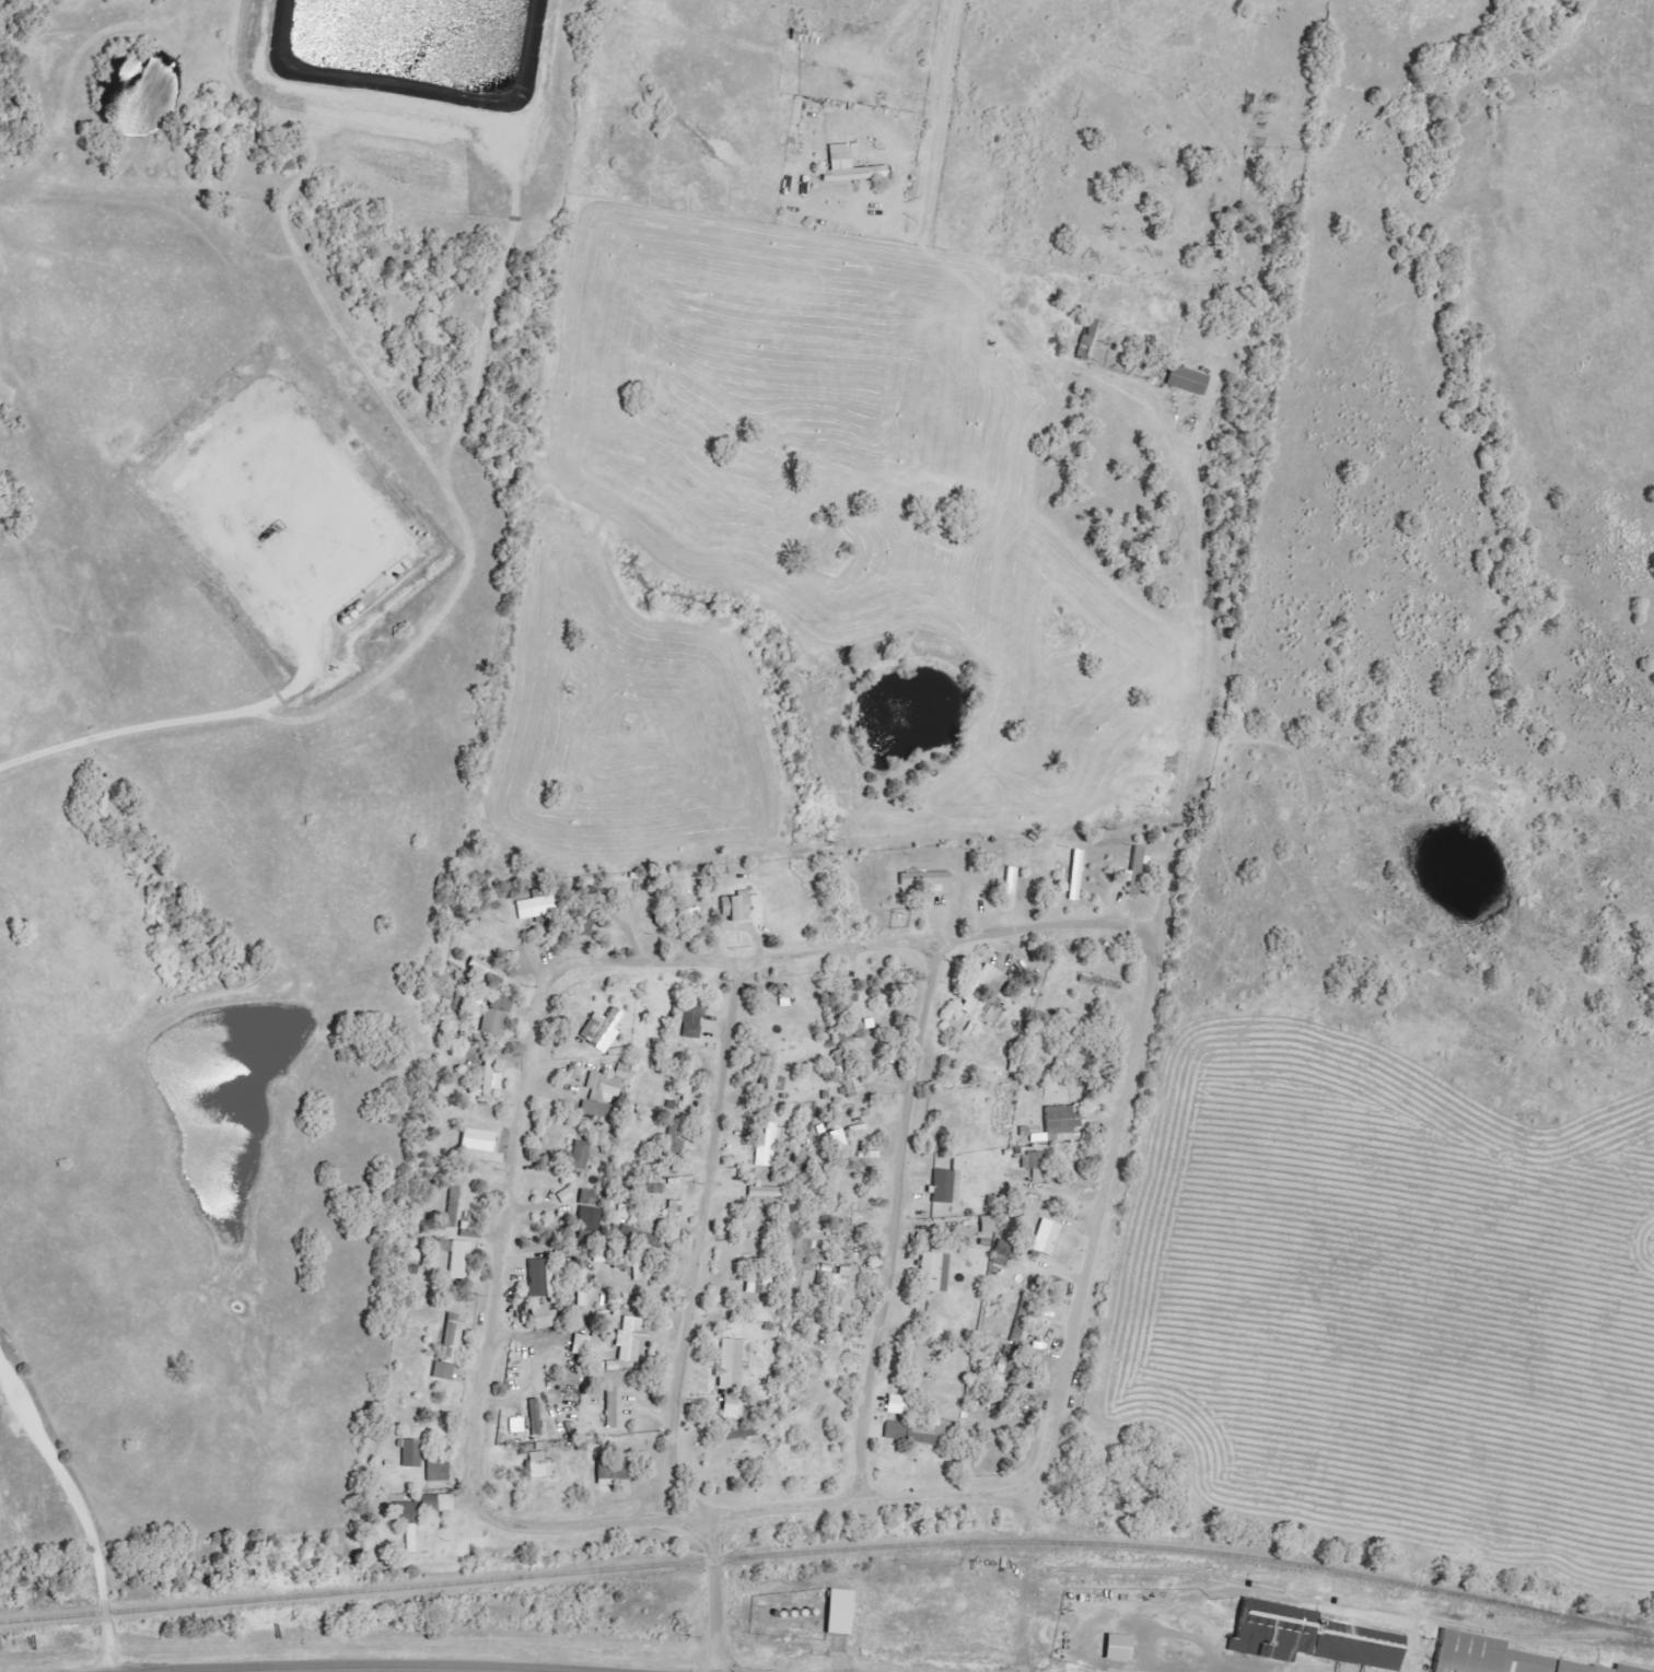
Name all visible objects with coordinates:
road: (943, 84)
building: (850, 167)
building: (1087, 338)
building: (1188, 381)
road: (1188, 498)
building: (1135, 872)
building: (1075, 877)
building: (927, 880)
building: (1010, 887)
building: (739, 905)
building: (536, 907)
building: (676, 915)
road: (581, 958)
building: (983, 986)
building: (850, 997)
building: (478, 1008)
building: (498, 1015)
building: (689, 1019)
building: (592, 1027)
building: (847, 1041)
building: (622, 1072)
building: (776, 1075)
building: (486, 1077)
building: (688, 1084)
building: (601, 1096)
building: (1057, 1125)
building: (477, 1141)
building: (768, 1146)
building: (580, 1155)
building: (1035, 1165)
building: (944, 1186)
building: (766, 1191)
building: (587, 1196)
building: (453, 1206)
building: (622, 1212)
road: (1098, 1212)
building: (674, 1213)
road: (895, 1217)
building: (590, 1219)
building: (988, 1225)
building: (468, 1229)
building: (1046, 1238)
road: (701, 1244)
building: (1006, 1250)
building: (458, 1259)
building: (934, 1272)
building: (541, 1278)
building: (757, 1284)
building: (582, 1288)
building: (842, 1288)
building: (541, 1317)
building: (630, 1338)
building: (582, 1345)
building: (449, 1351)
building: (1009, 1360)
building: (733, 1363)
building: (896, 1404)
building: (611, 1407)
building: (730, 1407)
building: (535, 1417)
building: (516, 1425)
building: (916, 1431)
building: (411, 1453)
building: (539, 1466)
building: (438, 1471)
building: (614, 1471)
building: (436, 1503)
road: (72, 1507)
road: (757, 1510)
building: (405, 1512)
railway: (829, 1551)
road: (712, 1593)
railway: (1359, 1605)
building: (840, 1612)
road: (1026, 1630)
building: (1303, 1637)
building: (1109, 1647)
road: (835, 1655)
building: (1483, 1656)
building: (1620, 1669)

